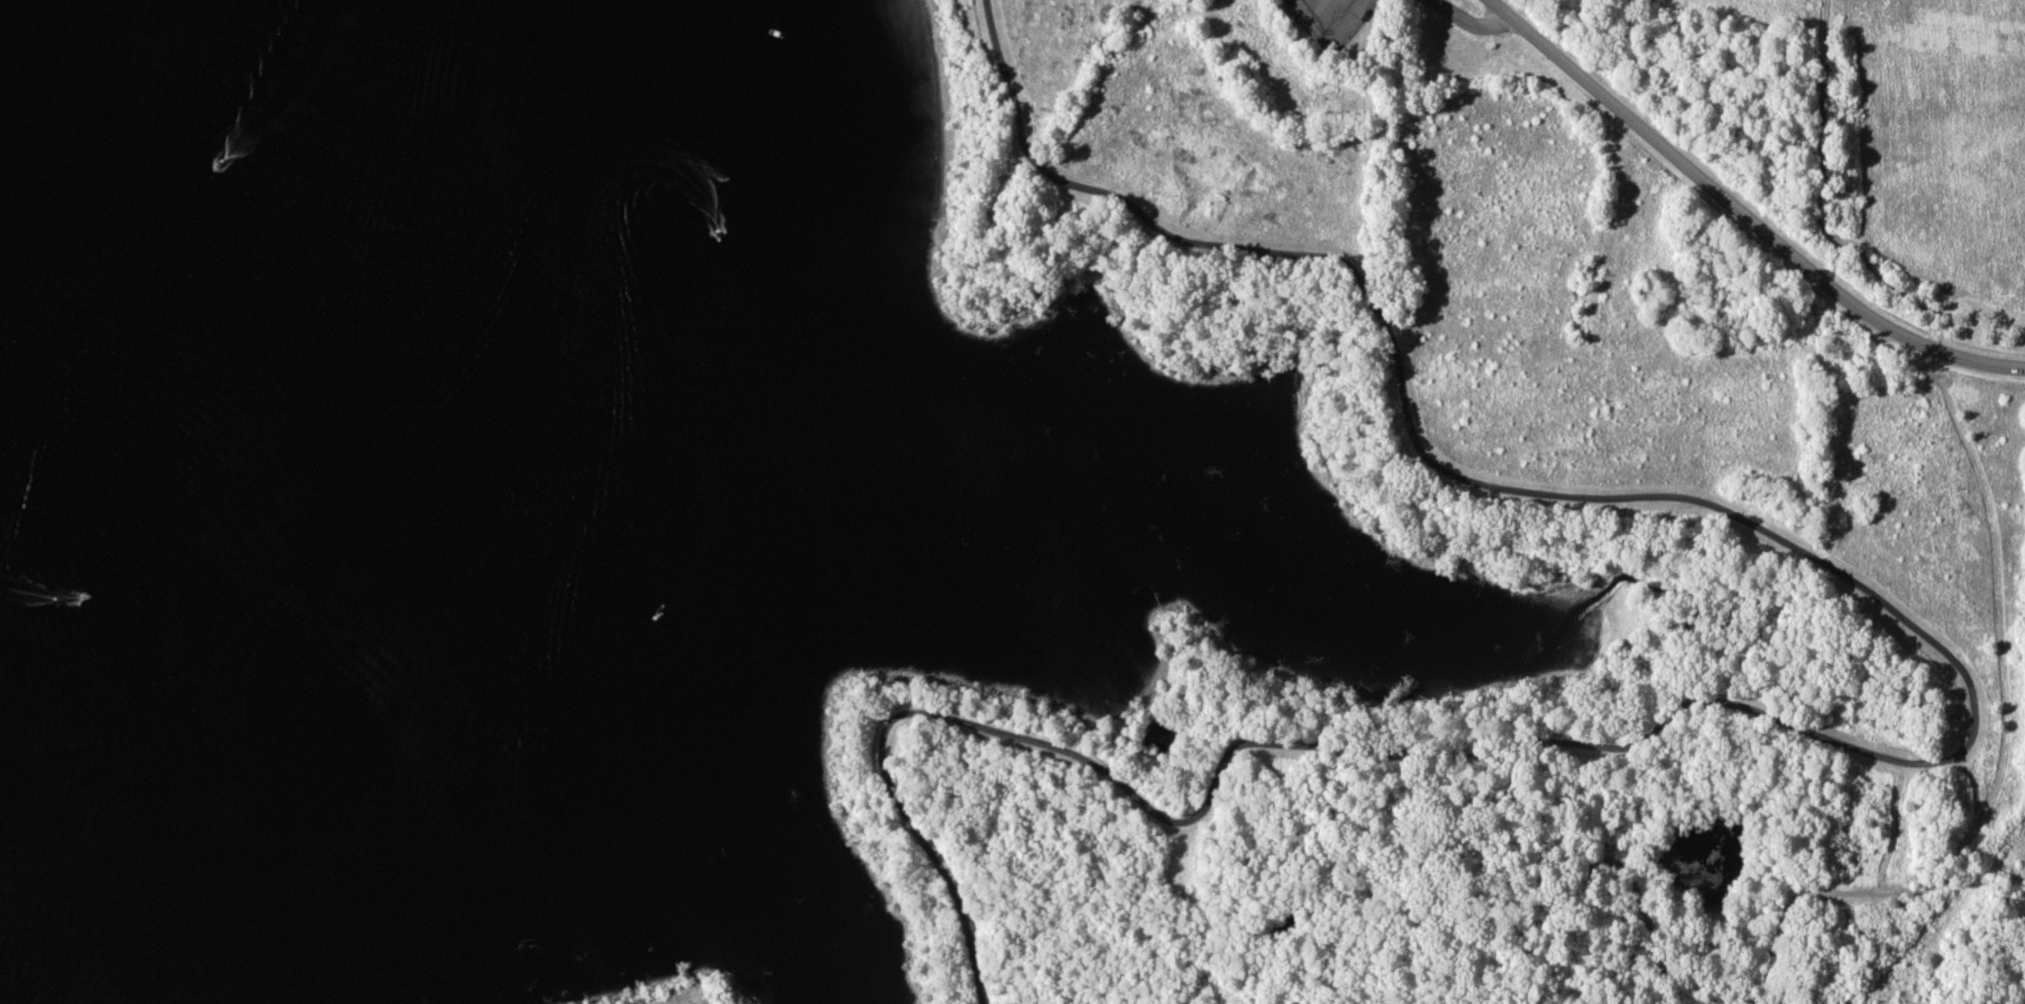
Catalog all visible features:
road: (1501, 5)
parking lot: (1334, 18)
road: (1472, 21)
road: (1820, 199)
road: (1751, 216)
park: (1503, 497)
road: (2005, 692)
road: (1917, 759)
road: (1648, 918)
park: (688, 992)

